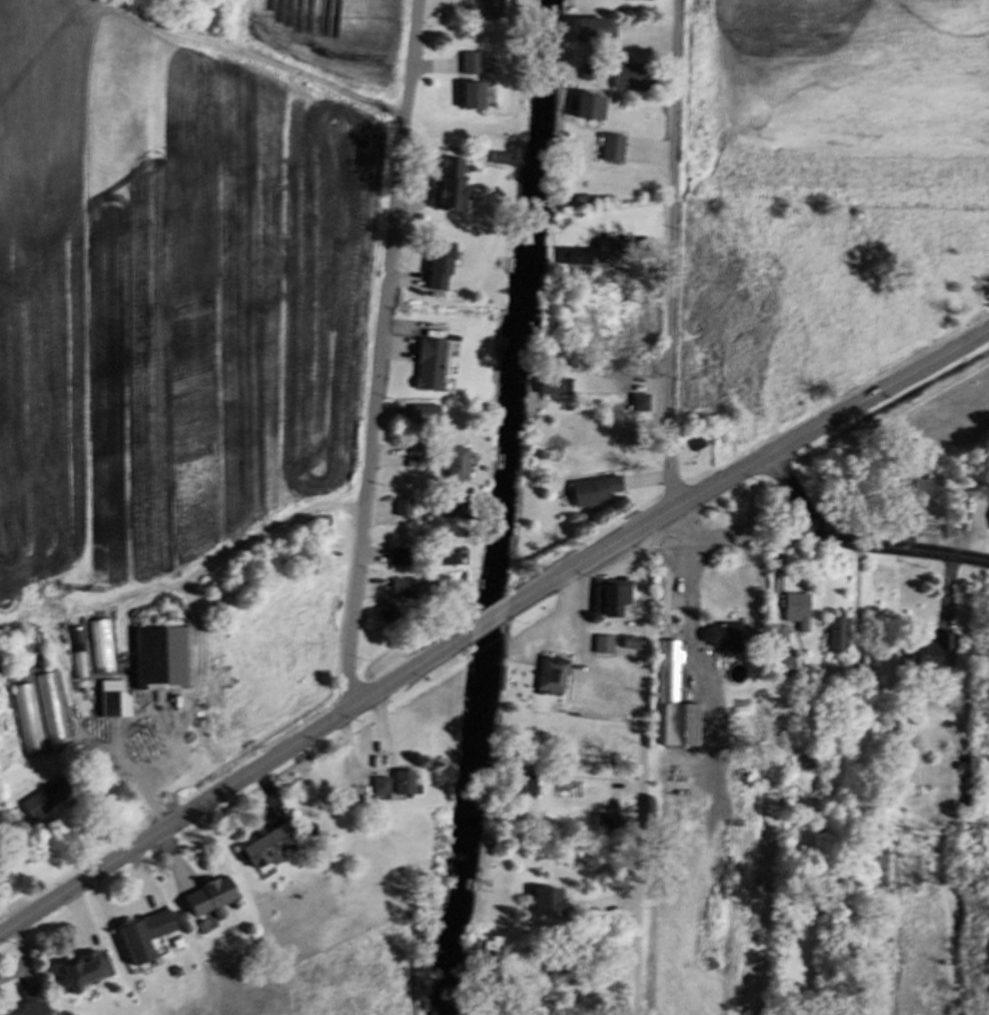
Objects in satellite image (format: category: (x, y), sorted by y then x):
building: (494, 8)
building: (595, 32)
building: (472, 65)
building: (627, 78)
building: (474, 98)
building: (592, 110)
building: (613, 152)
building: (453, 185)
road: (670, 254)
building: (442, 270)
road: (381, 363)
building: (435, 367)
building: (556, 388)
road: (882, 399)
building: (637, 404)
building: (427, 417)
building: (421, 458)
building: (458, 466)
building: (597, 492)
building: (928, 495)
building: (404, 508)
building: (448, 513)
road: (637, 539)
road: (860, 546)
building: (401, 558)
building: (450, 559)
road: (689, 582)
building: (799, 612)
building: (390, 618)
road: (485, 633)
building: (839, 636)
building: (722, 637)
building: (603, 647)
road: (582, 650)
building: (936, 652)
building: (165, 660)
building: (553, 678)
building: (679, 706)
building: (113, 707)
building: (51, 709)
building: (27, 720)
road: (644, 775)
building: (405, 784)
building: (381, 788)
building: (528, 788)
road: (235, 794)
building: (48, 800)
building: (270, 848)
building: (213, 898)
building: (550, 903)
building: (146, 938)
building: (490, 949)
building: (83, 974)
building: (35, 1003)

